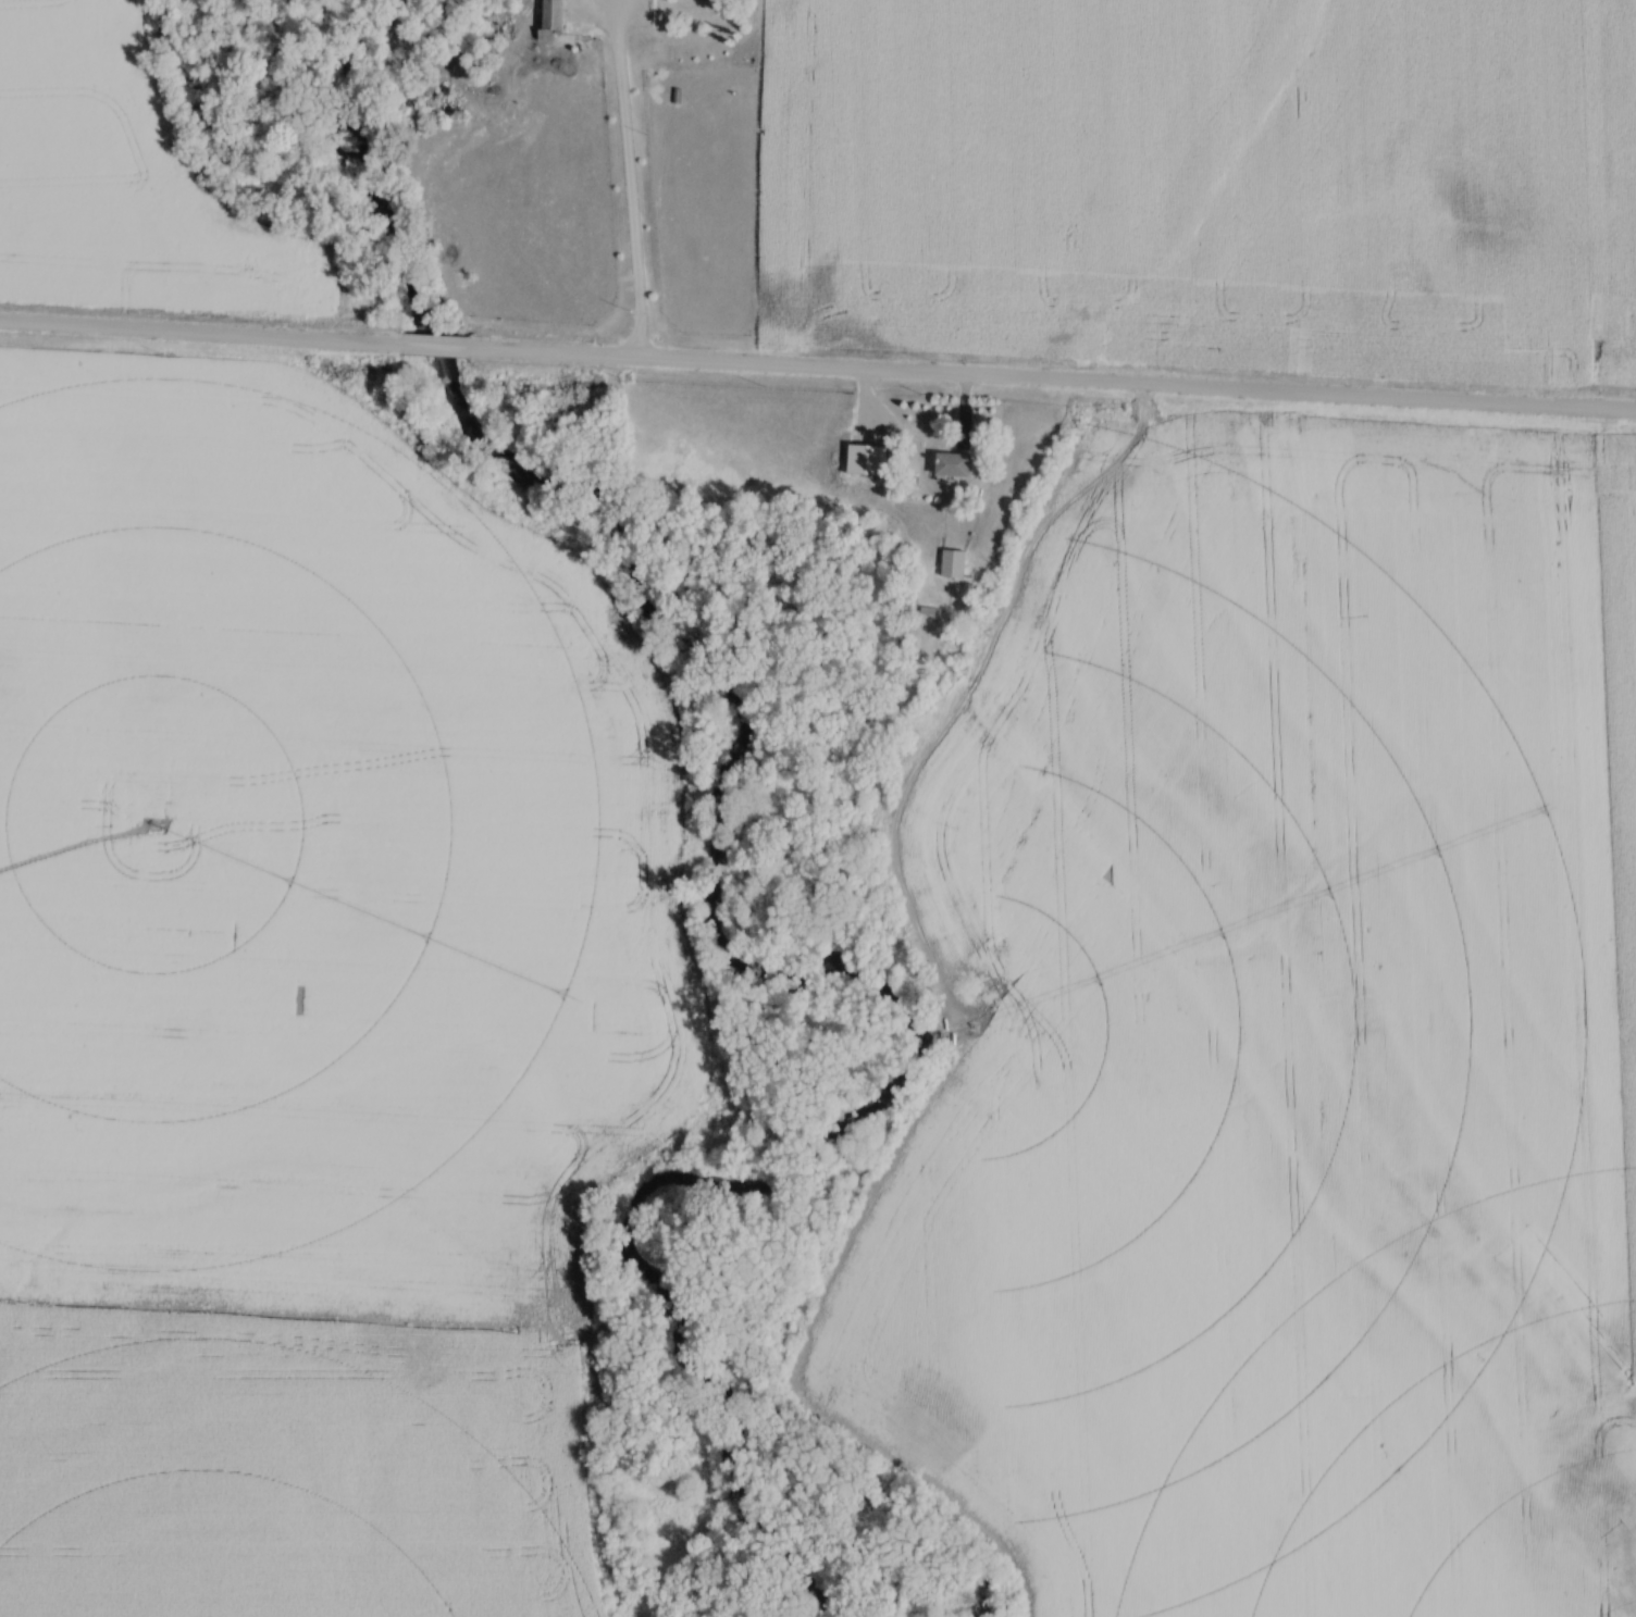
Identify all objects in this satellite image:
building: (554, 18)
road: (629, 182)
road: (203, 331)
road: (441, 345)
road: (1054, 381)
building: (869, 462)
building: (956, 467)
building: (955, 565)
river: (719, 928)

